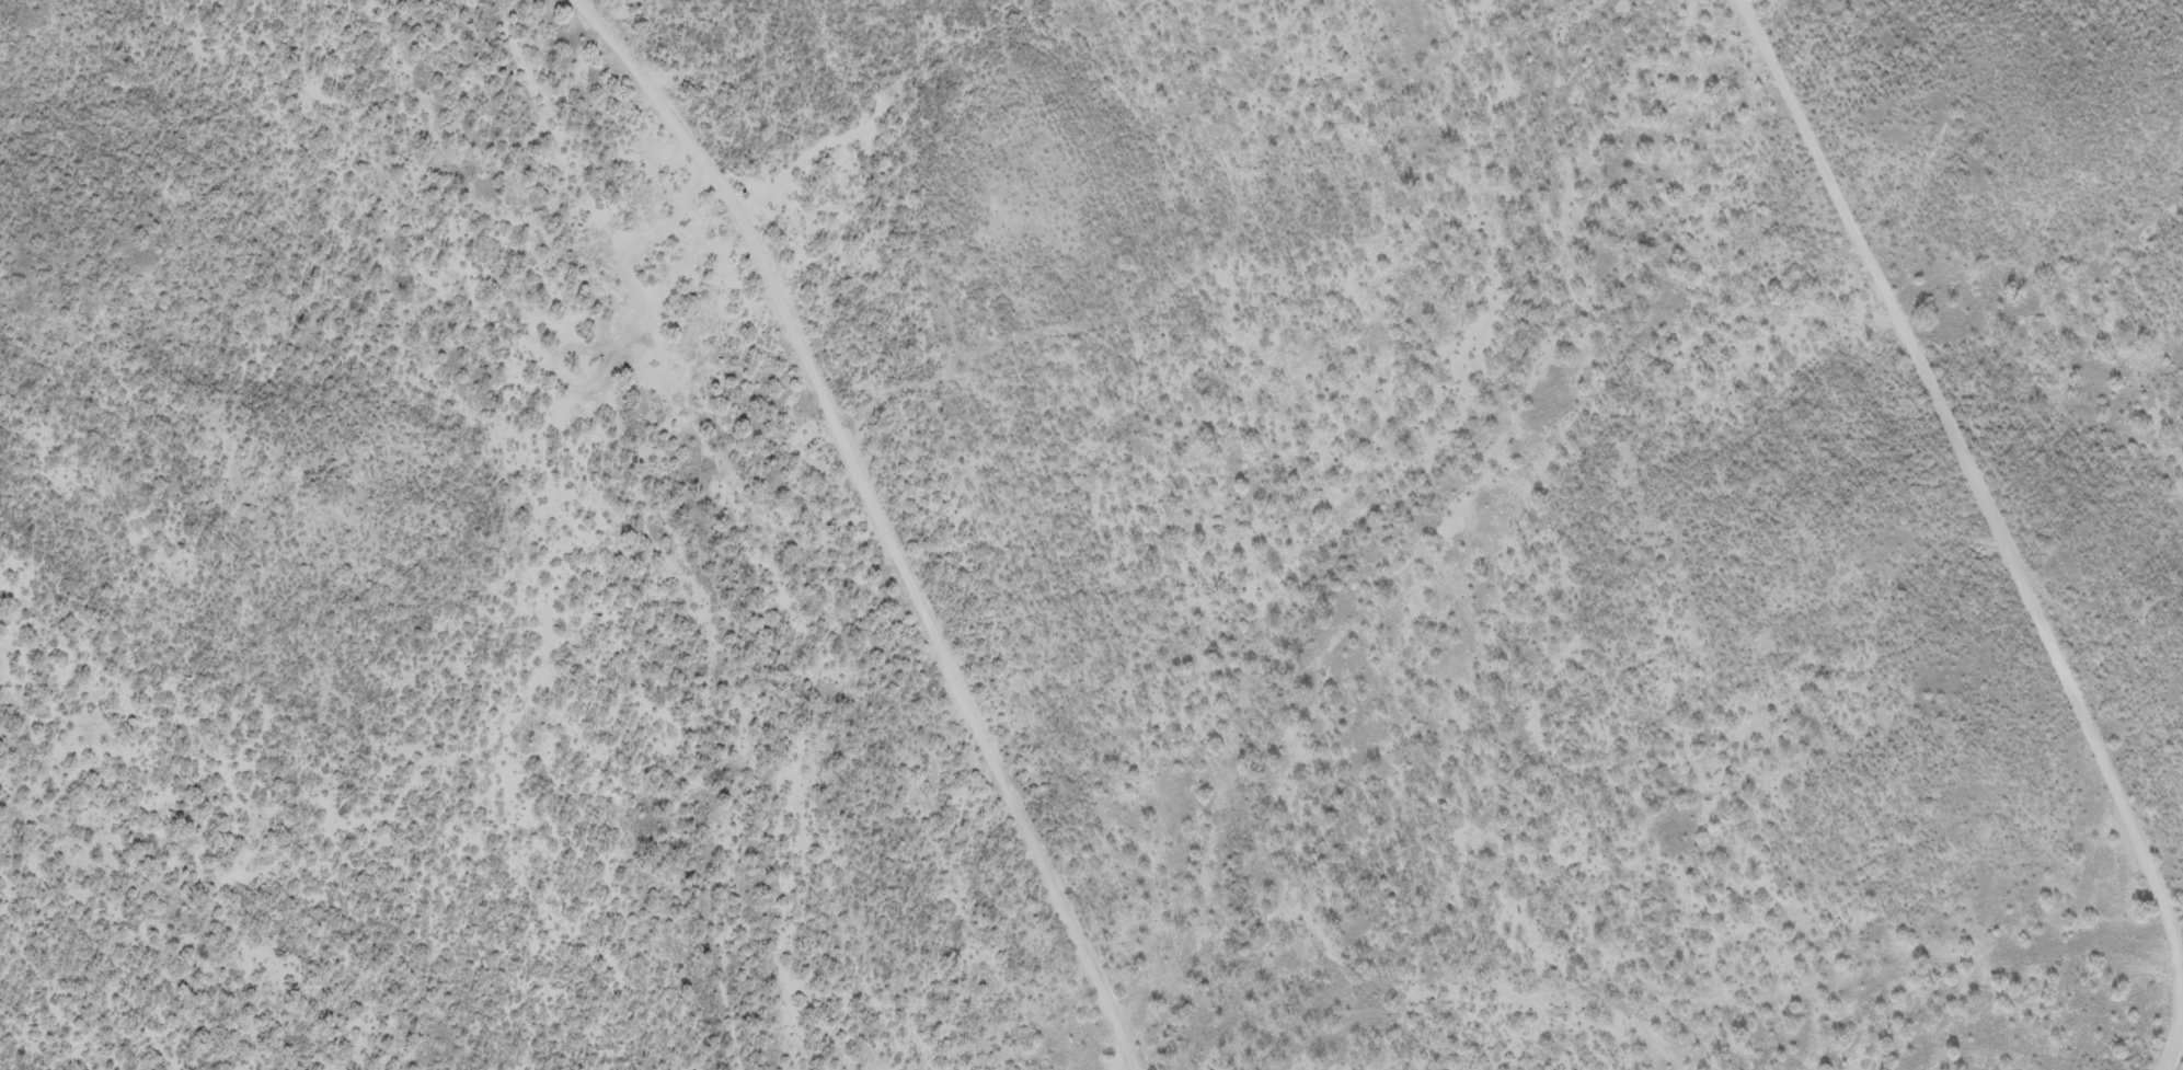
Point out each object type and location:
road: (1978, 473)
road: (2176, 1054)

